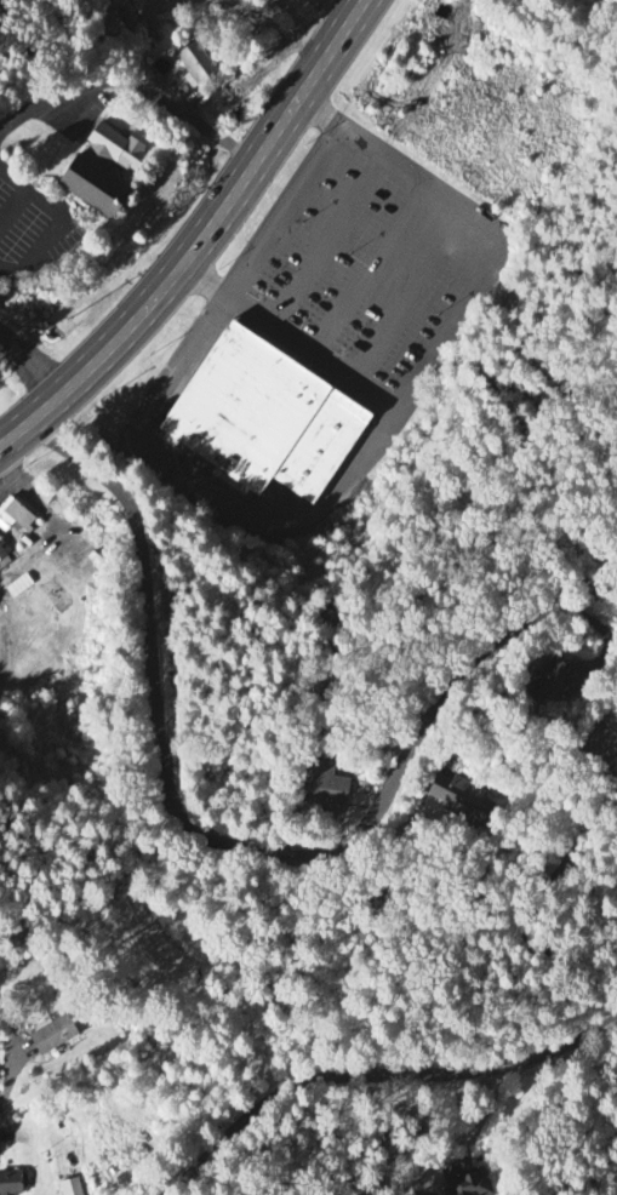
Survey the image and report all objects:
building: (196, 64)
road: (131, 86)
building: (113, 150)
building: (91, 188)
road: (281, 215)
road: (201, 239)
road: (30, 365)
building: (261, 422)
building: (18, 518)
building: (4, 555)
road: (35, 555)
road: (590, 595)
building: (545, 681)
building: (326, 787)
building: (458, 800)
road: (207, 839)
road: (544, 884)
building: (61, 1037)
road: (378, 1075)
road: (11, 1081)
road: (470, 1137)
building: (474, 1182)
building: (15, 1184)
building: (75, 1188)

